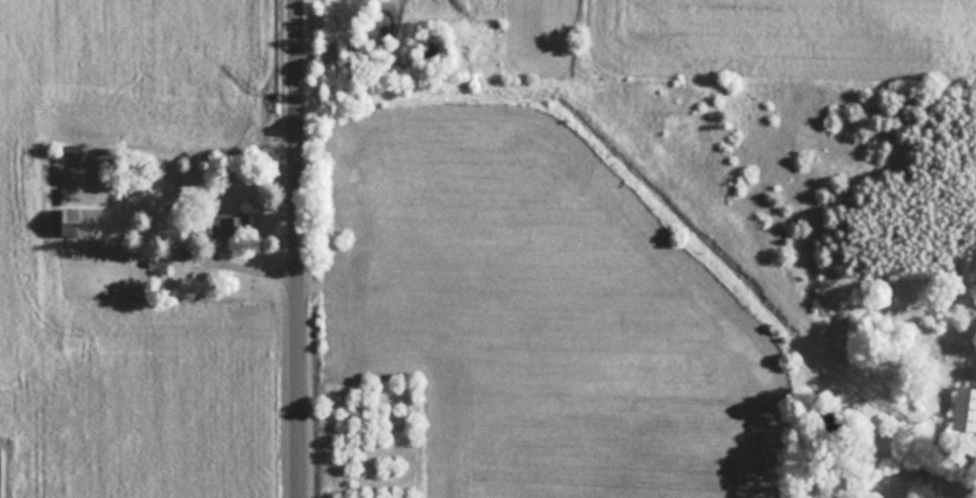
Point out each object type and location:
building: (82, 220)
building: (233, 226)
road: (300, 248)
building: (965, 408)
building: (949, 483)

